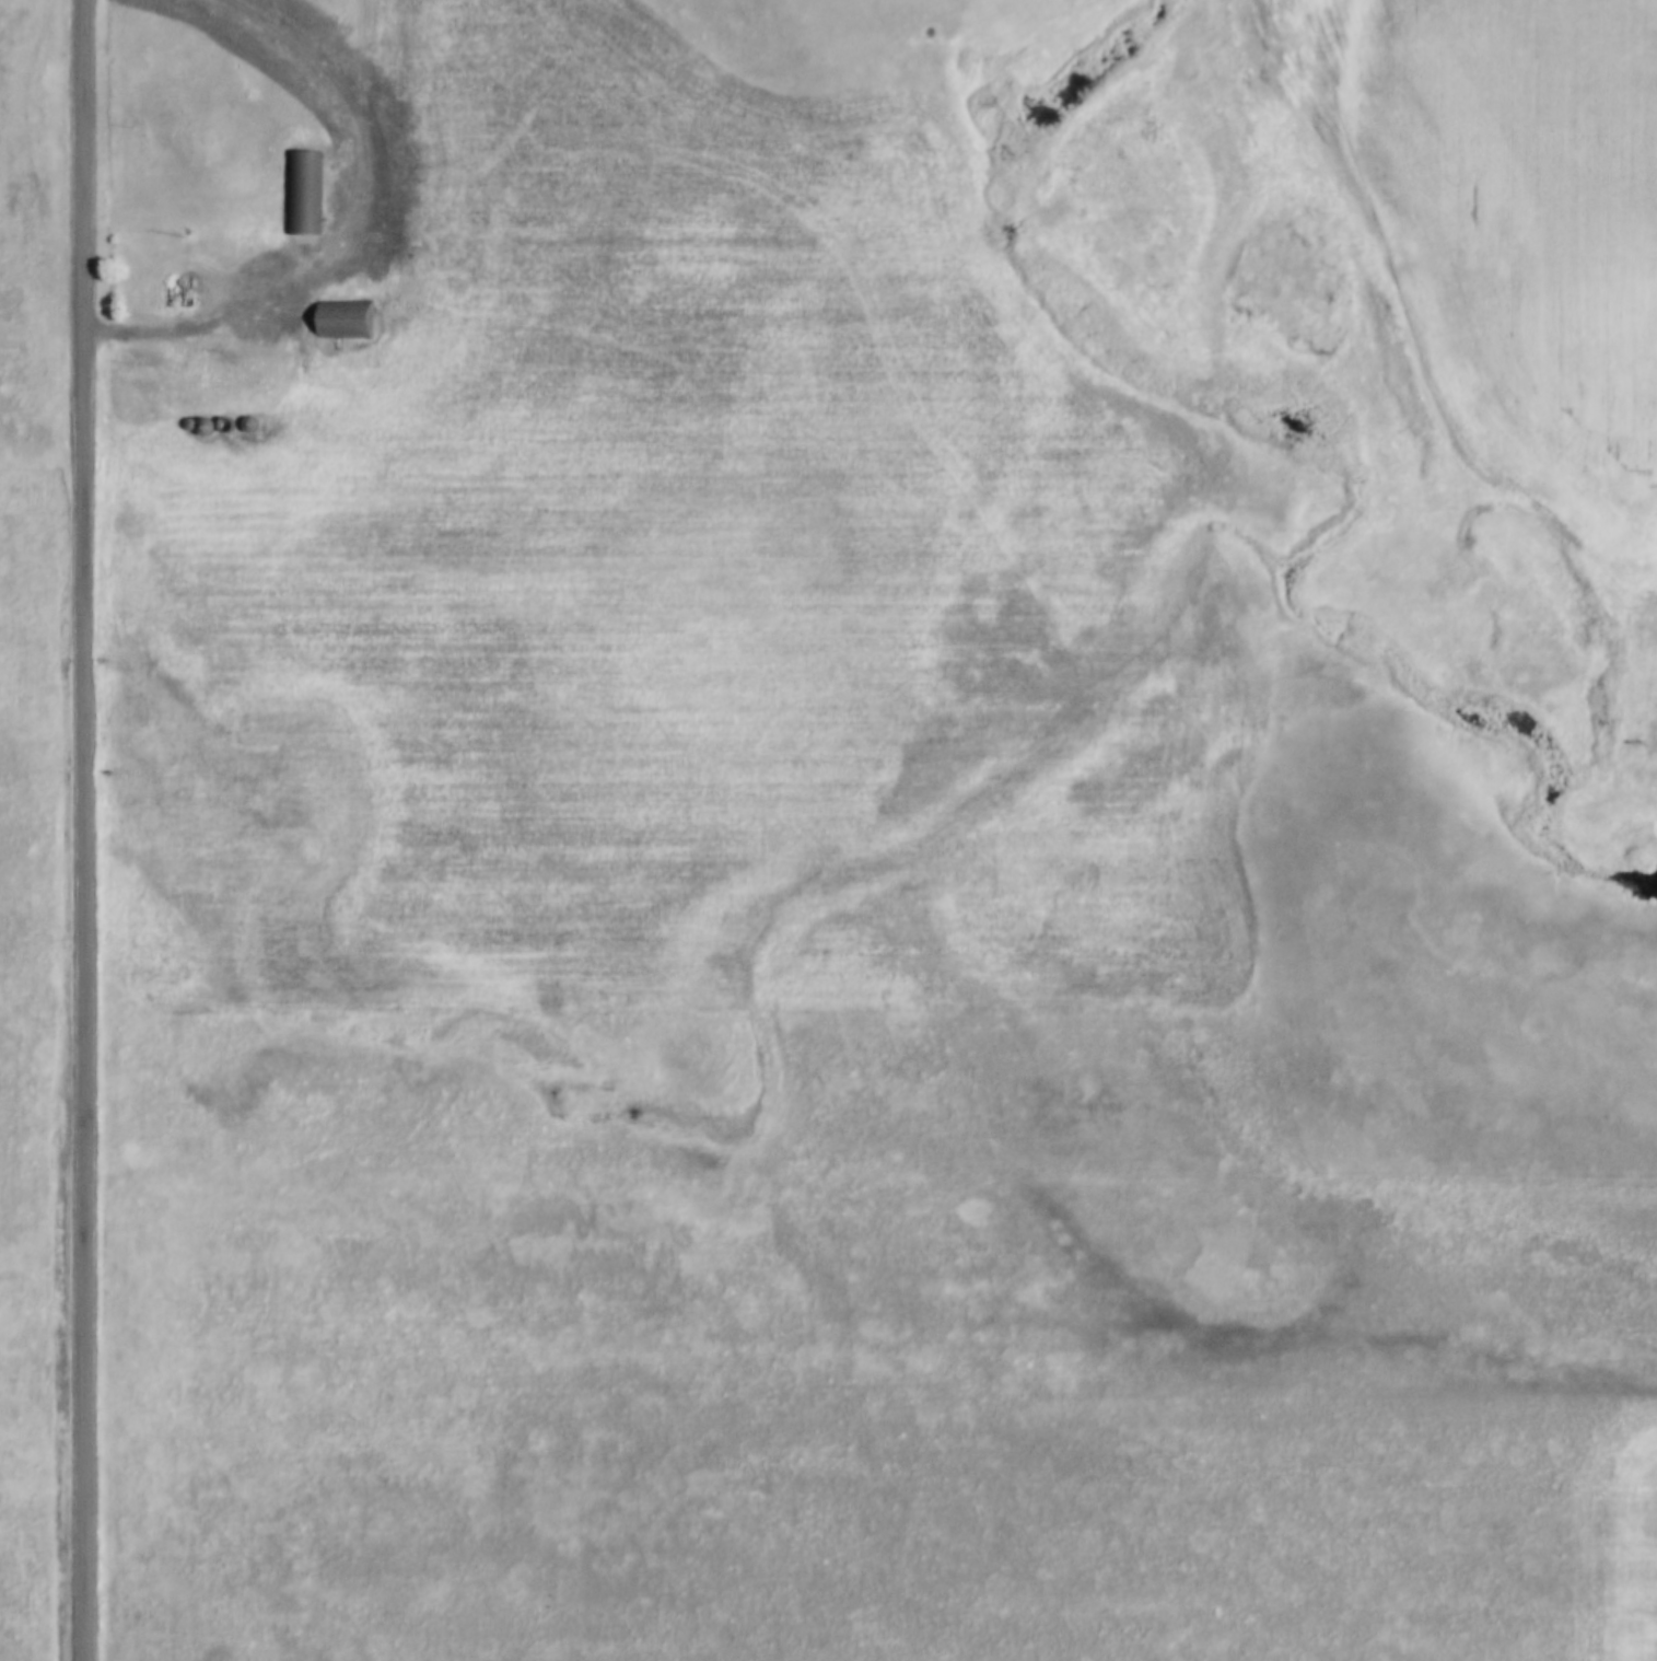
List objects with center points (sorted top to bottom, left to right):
building: (305, 194)
building: (350, 321)
road: (200, 333)
road: (82, 829)

